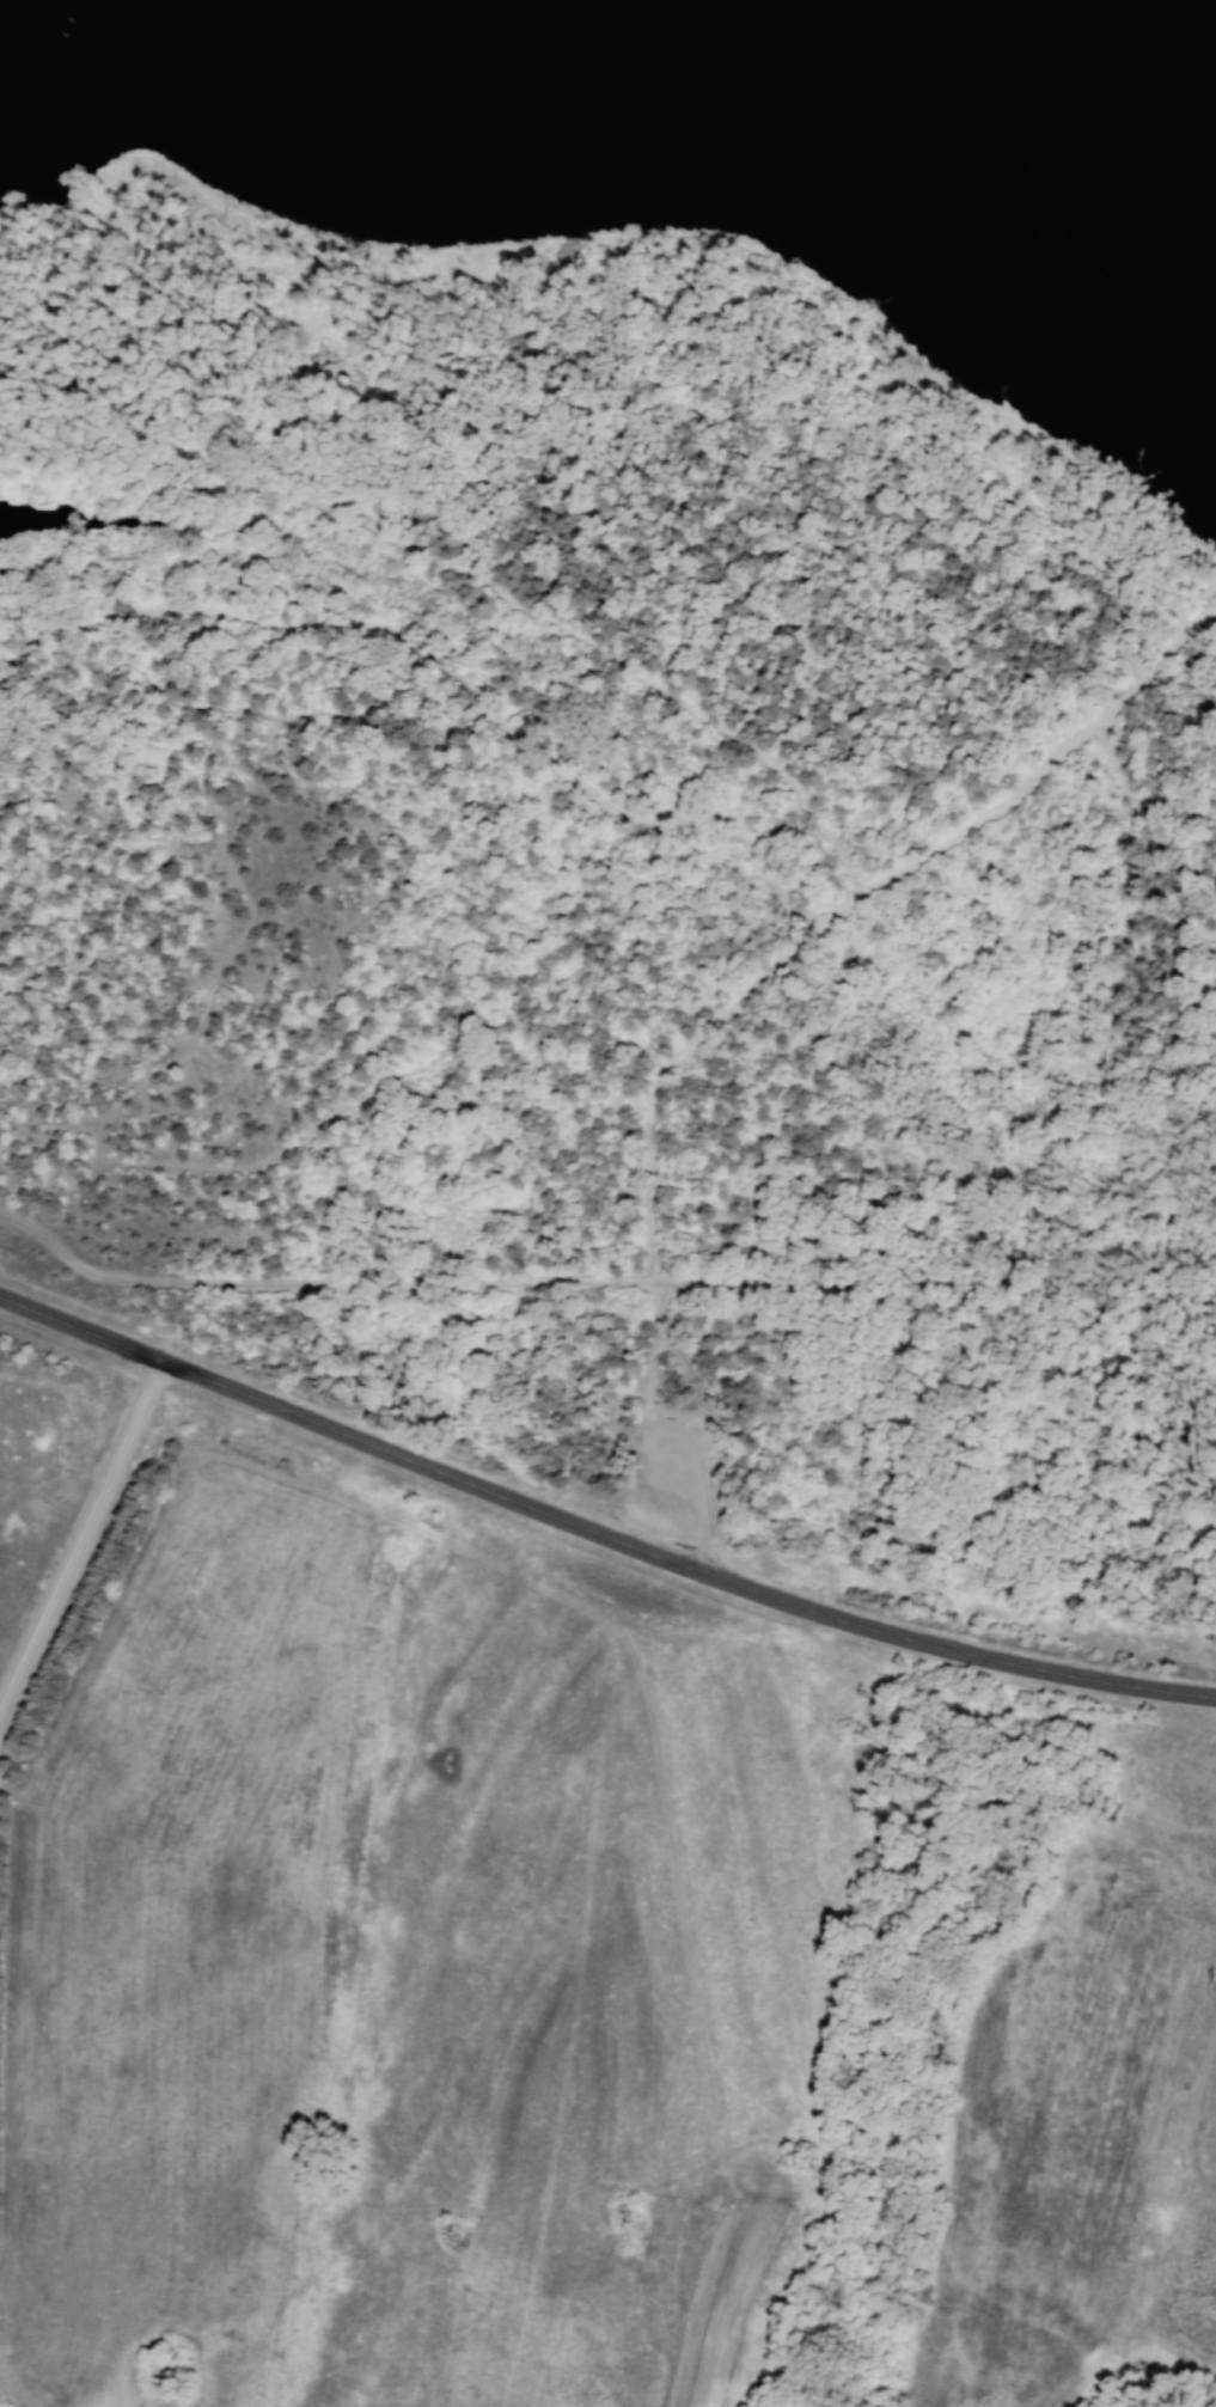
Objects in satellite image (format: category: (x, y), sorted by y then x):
road: (497, 323)
road: (690, 496)
road: (752, 753)
park: (635, 766)
road: (641, 817)
road: (1196, 848)
road: (674, 1080)
road: (262, 1178)
road: (487, 1282)
road: (1104, 1291)
road: (652, 1349)
parking lot: (668, 1459)
road: (1175, 1459)
road: (1028, 1514)
road: (595, 1533)
road: (79, 1539)
road: (703, 1540)

